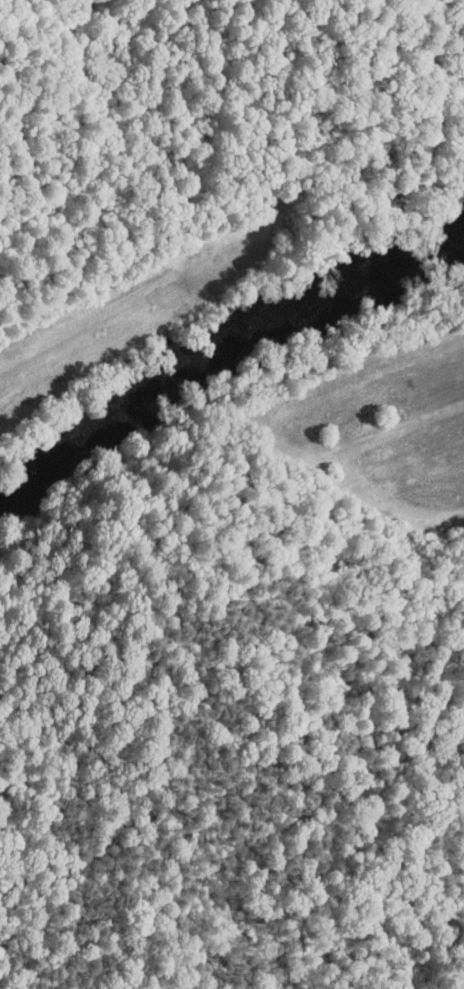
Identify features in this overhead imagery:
river: (218, 352)

